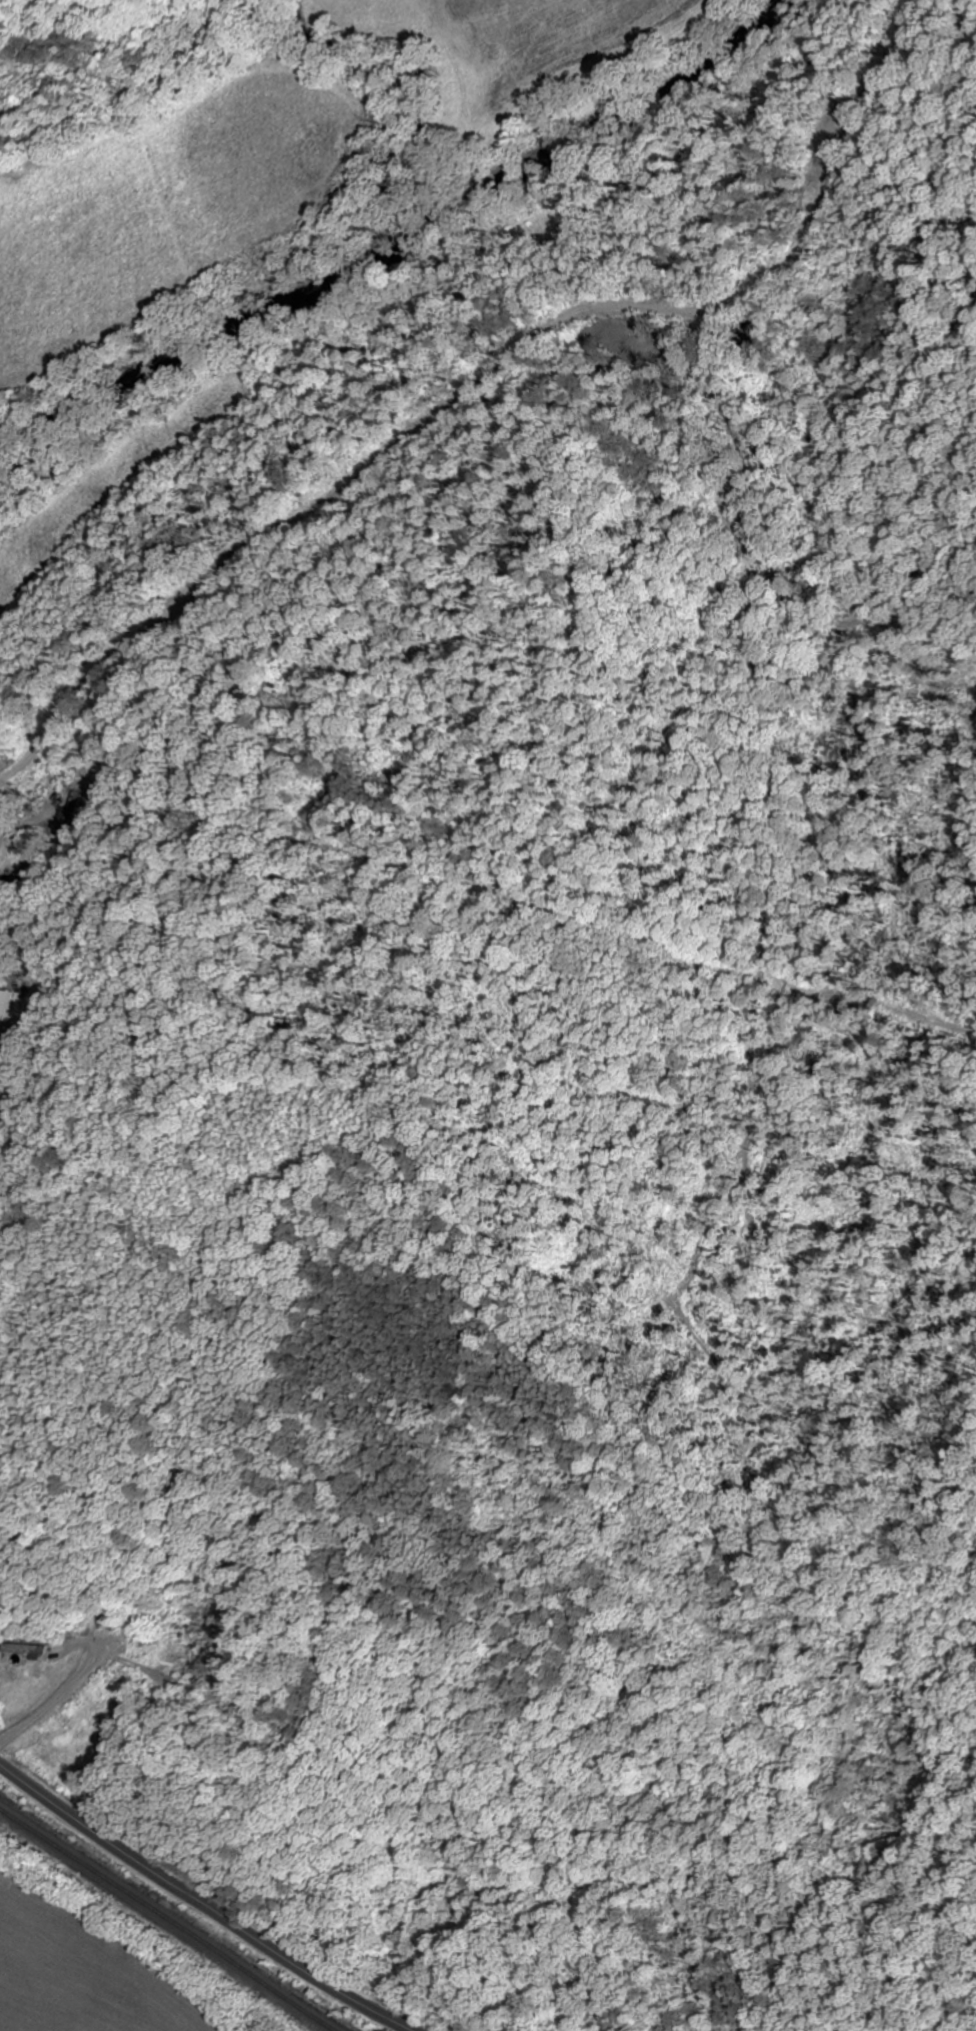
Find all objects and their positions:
road: (489, 376)
building: (71, 808)
building: (4, 998)
building: (18, 1650)
road: (199, 1904)
railway: (160, 1916)

